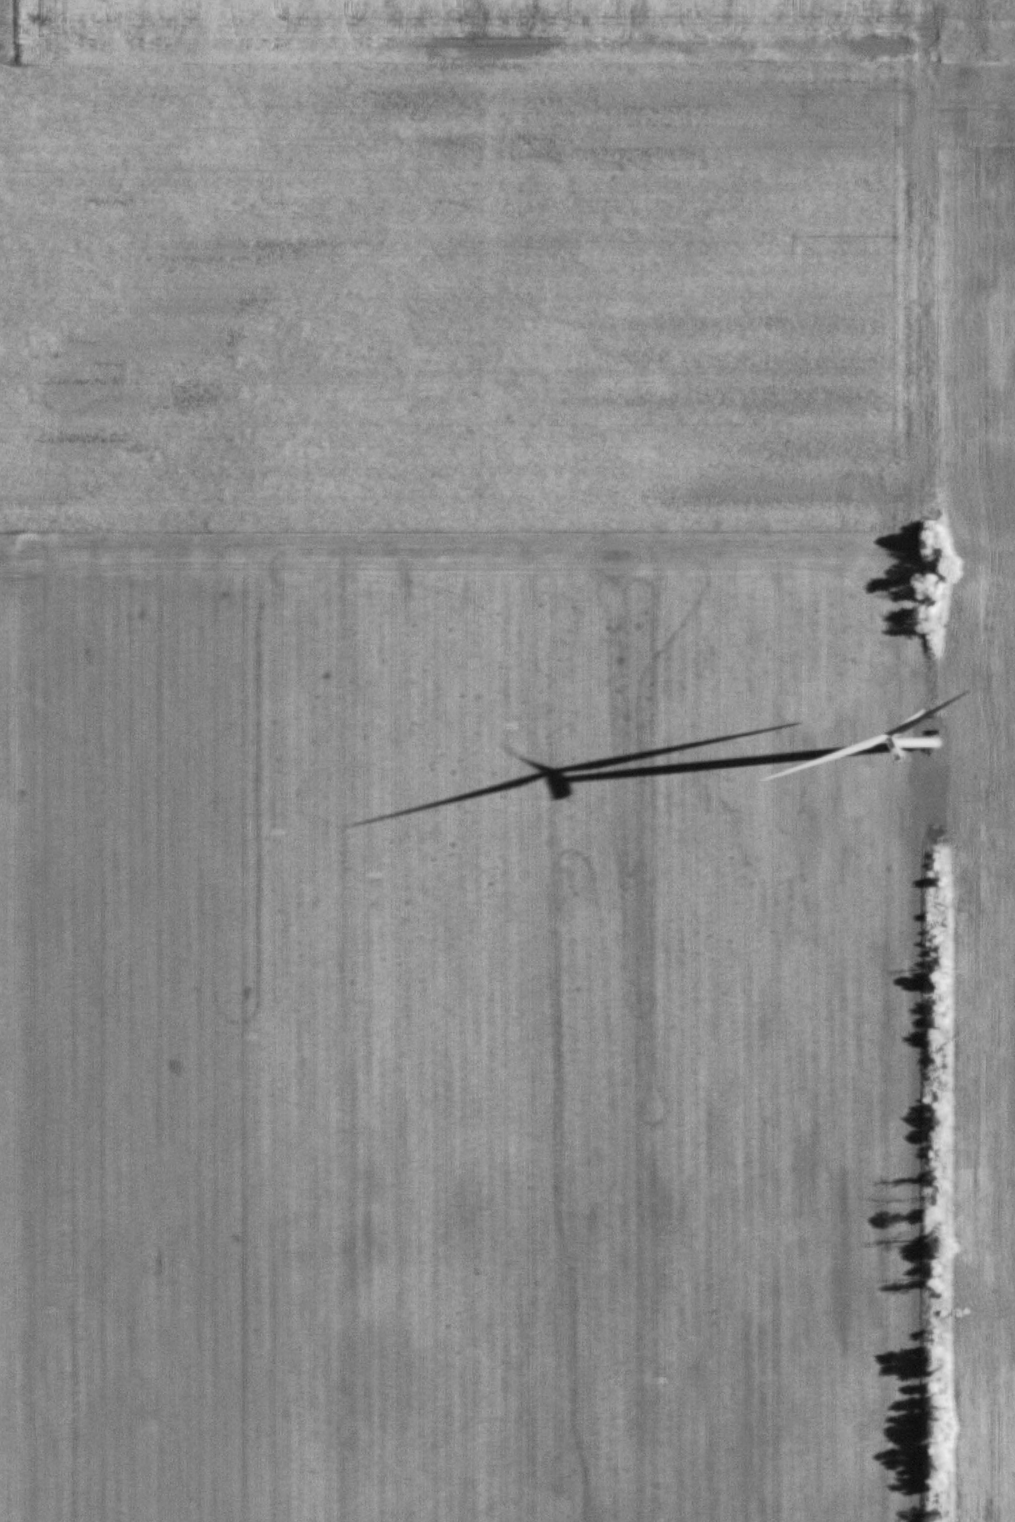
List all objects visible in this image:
wind turbine: (923, 755)
road: (910, 1170)

